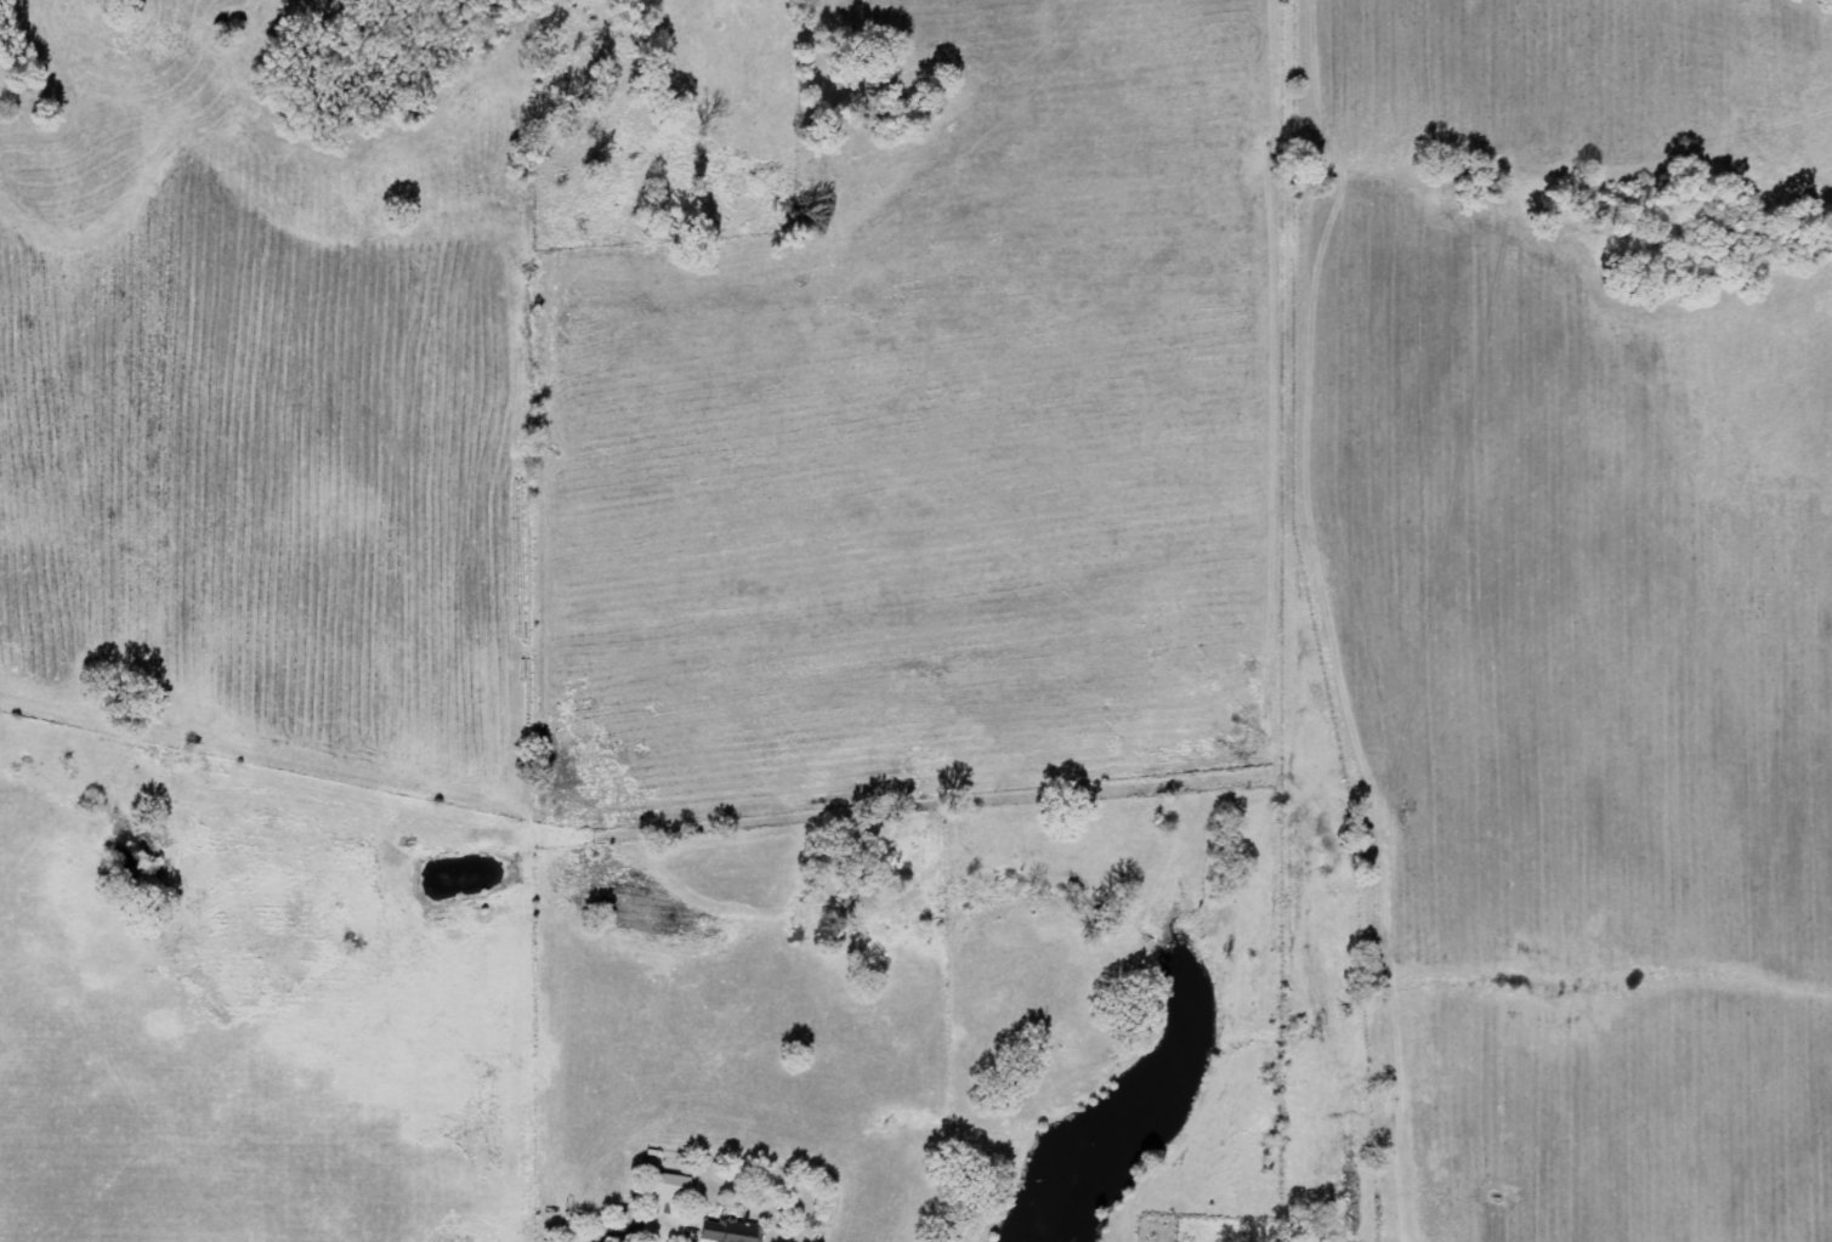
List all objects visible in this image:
building: (670, 1186)
road: (640, 1229)
building: (727, 1238)

